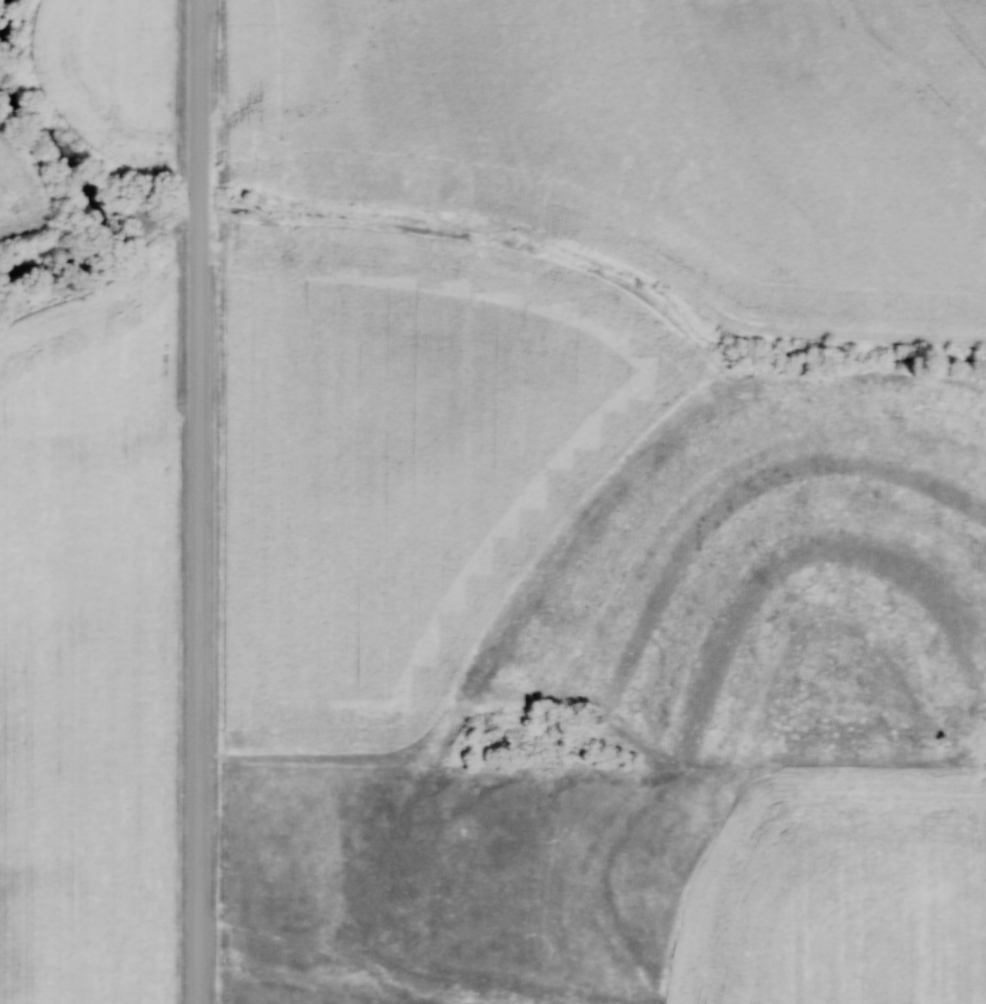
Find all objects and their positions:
crop: (113, 68)
road: (197, 502)

